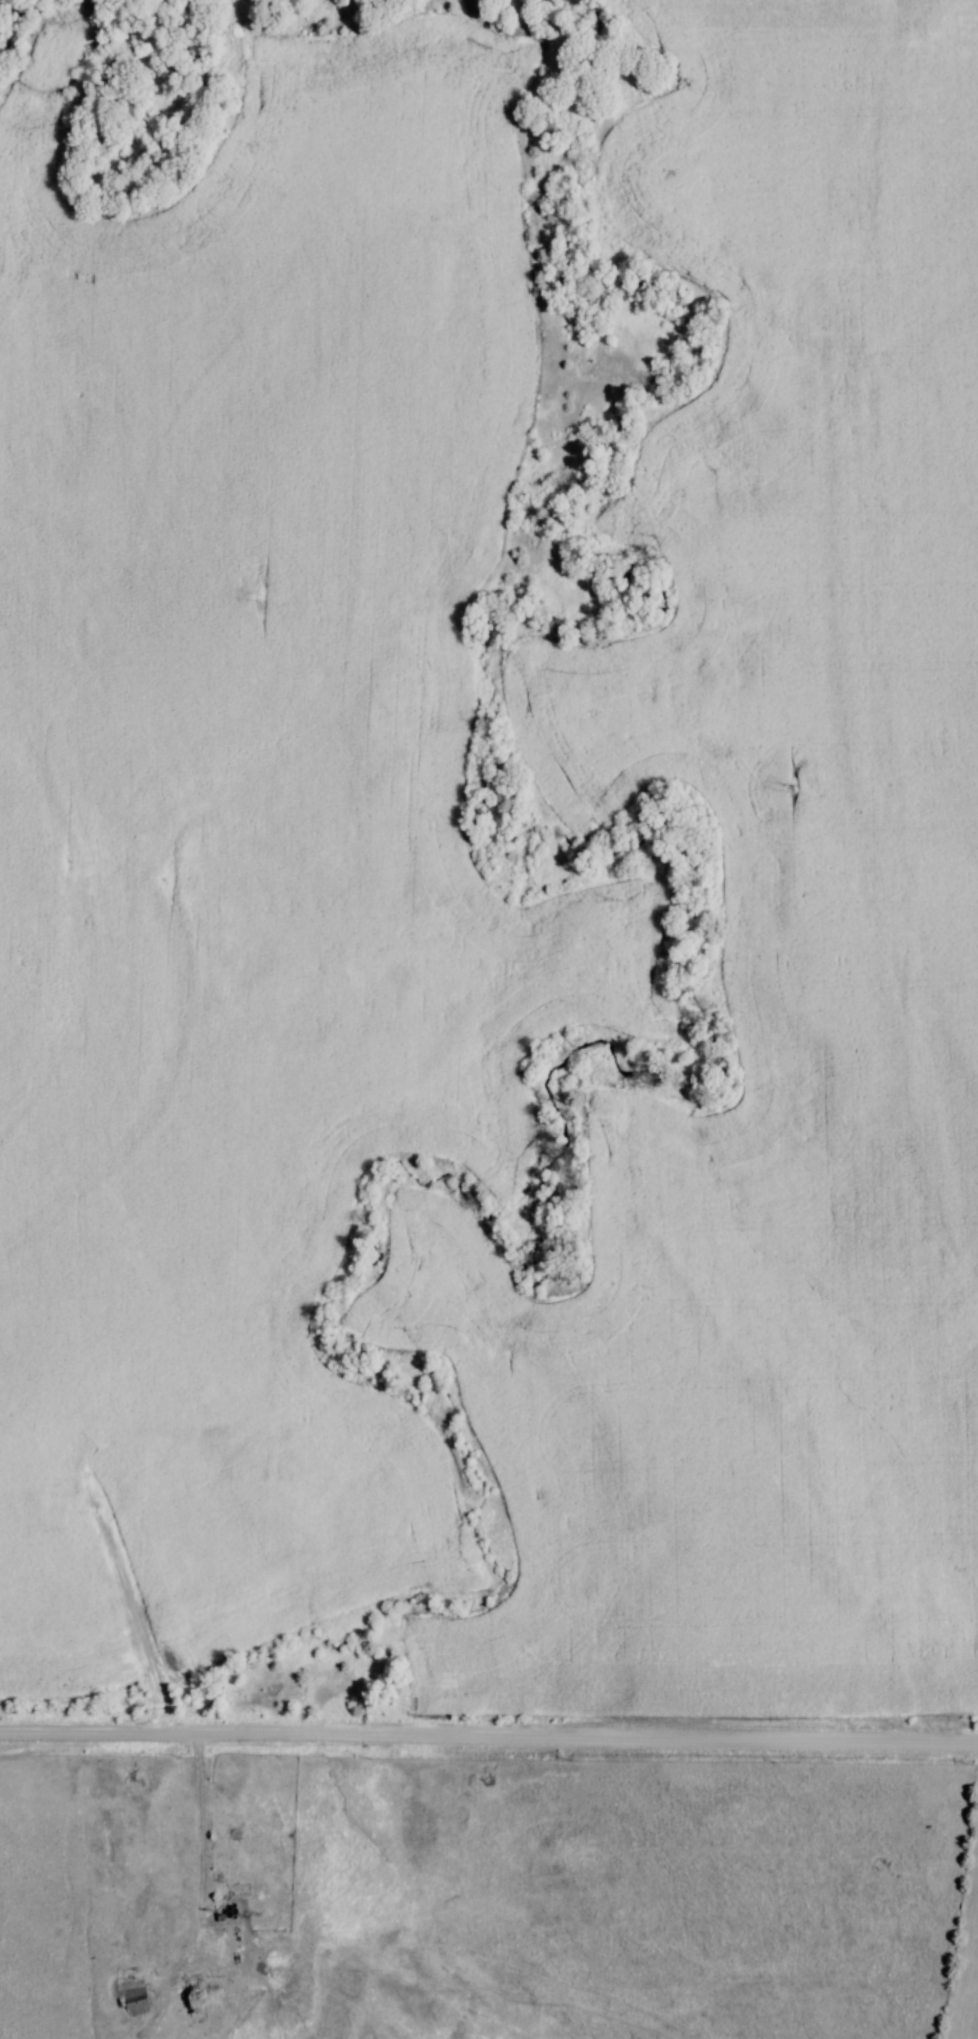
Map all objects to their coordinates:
road: (488, 1739)
building: (127, 1991)
building: (196, 2000)

